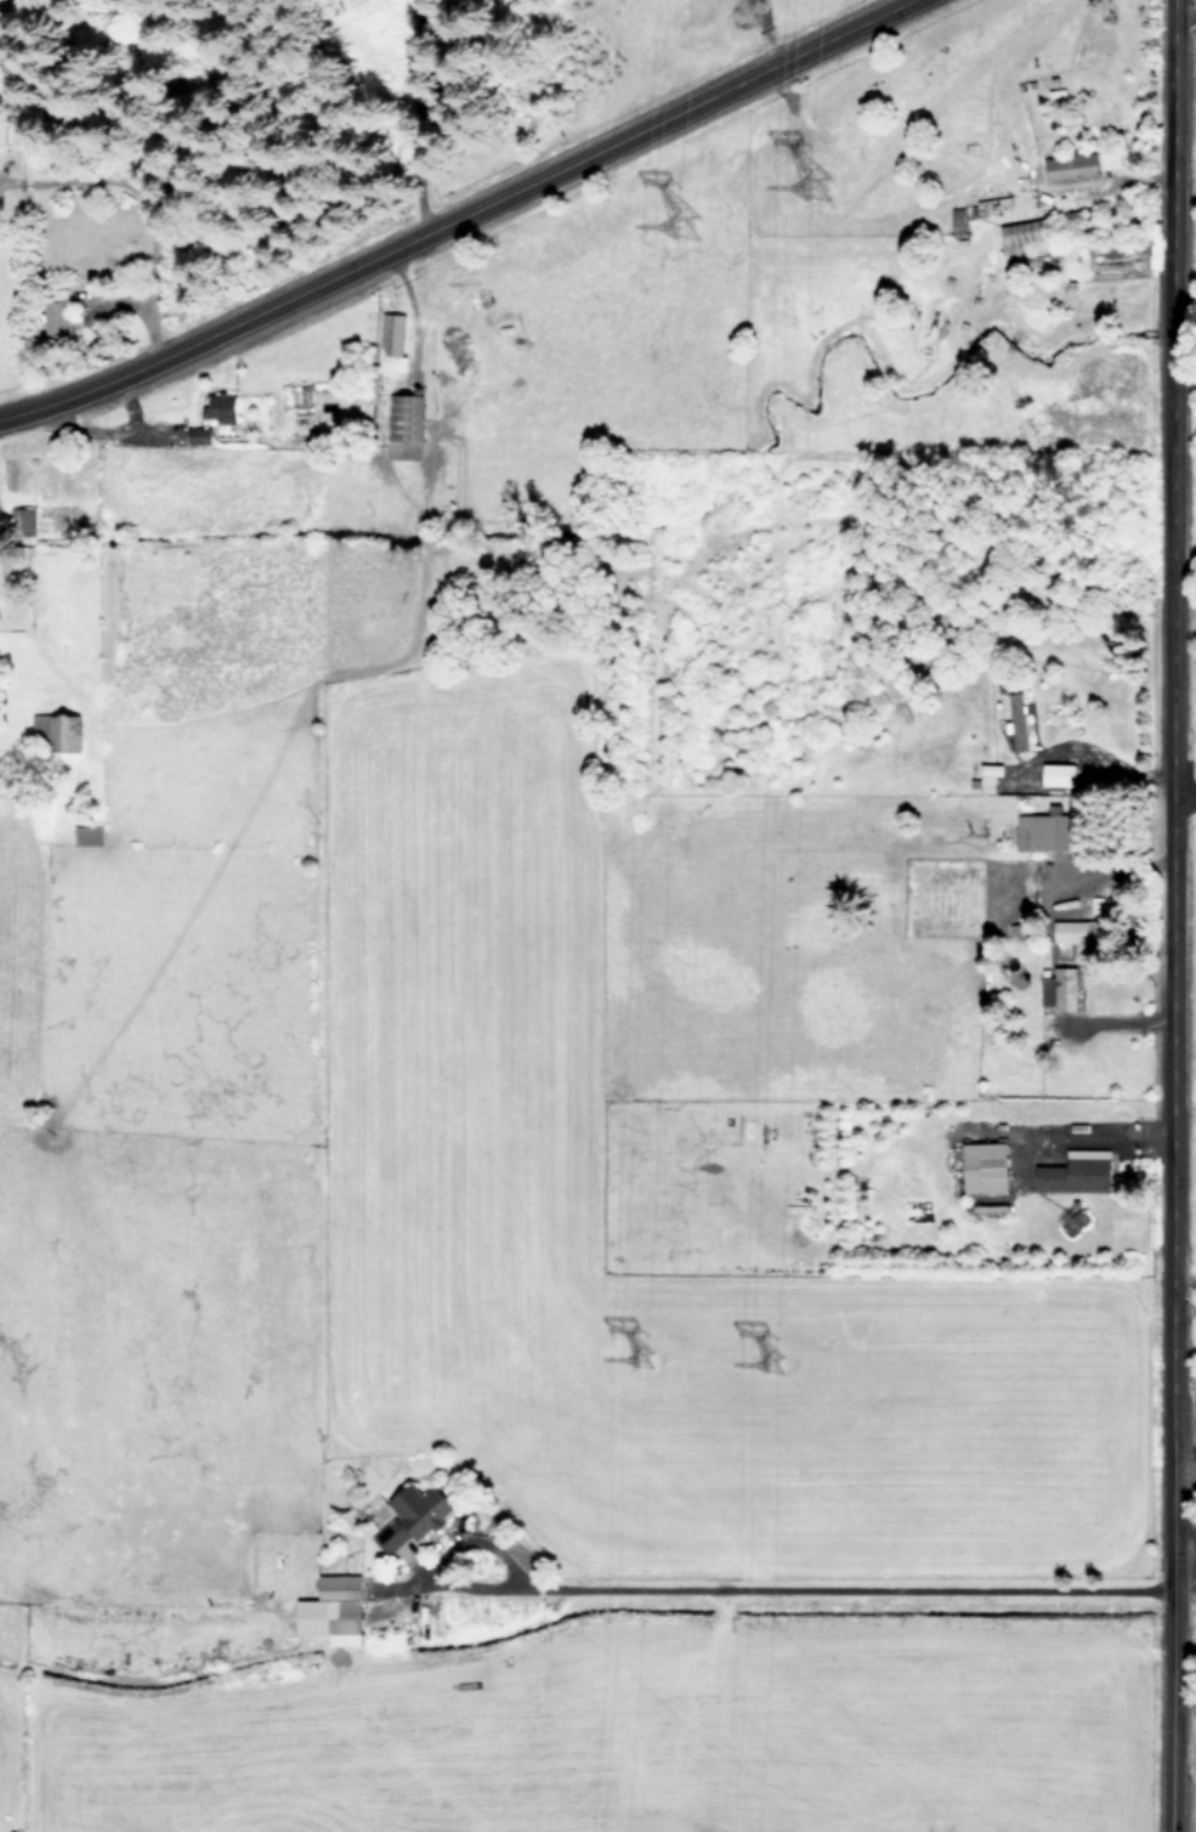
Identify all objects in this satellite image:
road: (410, 115)
building: (2, 126)
building: (1073, 171)
power tower: (828, 190)
road: (457, 216)
power tower: (695, 231)
building: (1019, 237)
building: (57, 318)
building: (392, 343)
building: (221, 409)
building: (402, 428)
building: (199, 435)
building: (1018, 719)
building: (53, 729)
road: (1084, 753)
building: (1059, 773)
building: (990, 775)
road: (1179, 797)
building: (1049, 829)
building: (89, 833)
road: (1162, 915)
building: (1078, 929)
building: (1060, 988)
building: (986, 1166)
building: (1077, 1170)
road: (1180, 1279)
road: (1181, 1308)
power tower: (647, 1376)
power tower: (782, 1383)
building: (414, 1515)
road: (838, 1585)
building: (334, 1610)

